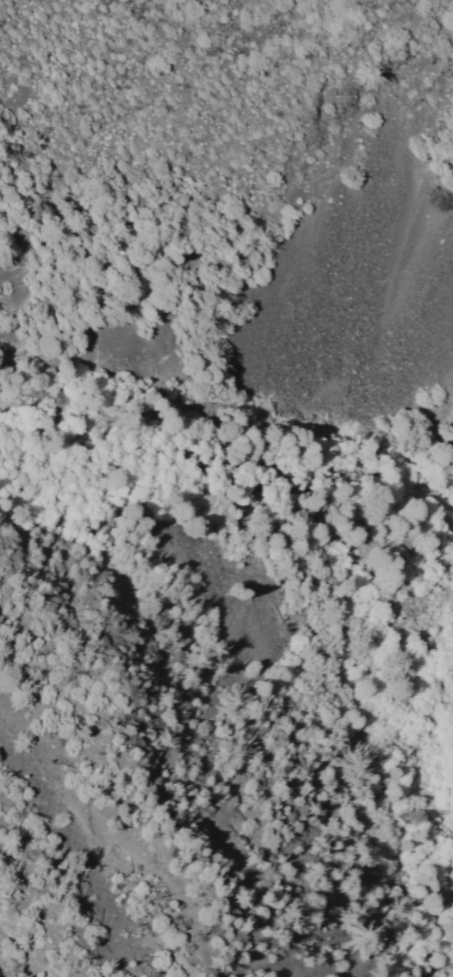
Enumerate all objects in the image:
building: (160, 397)
road: (226, 408)
building: (238, 430)

